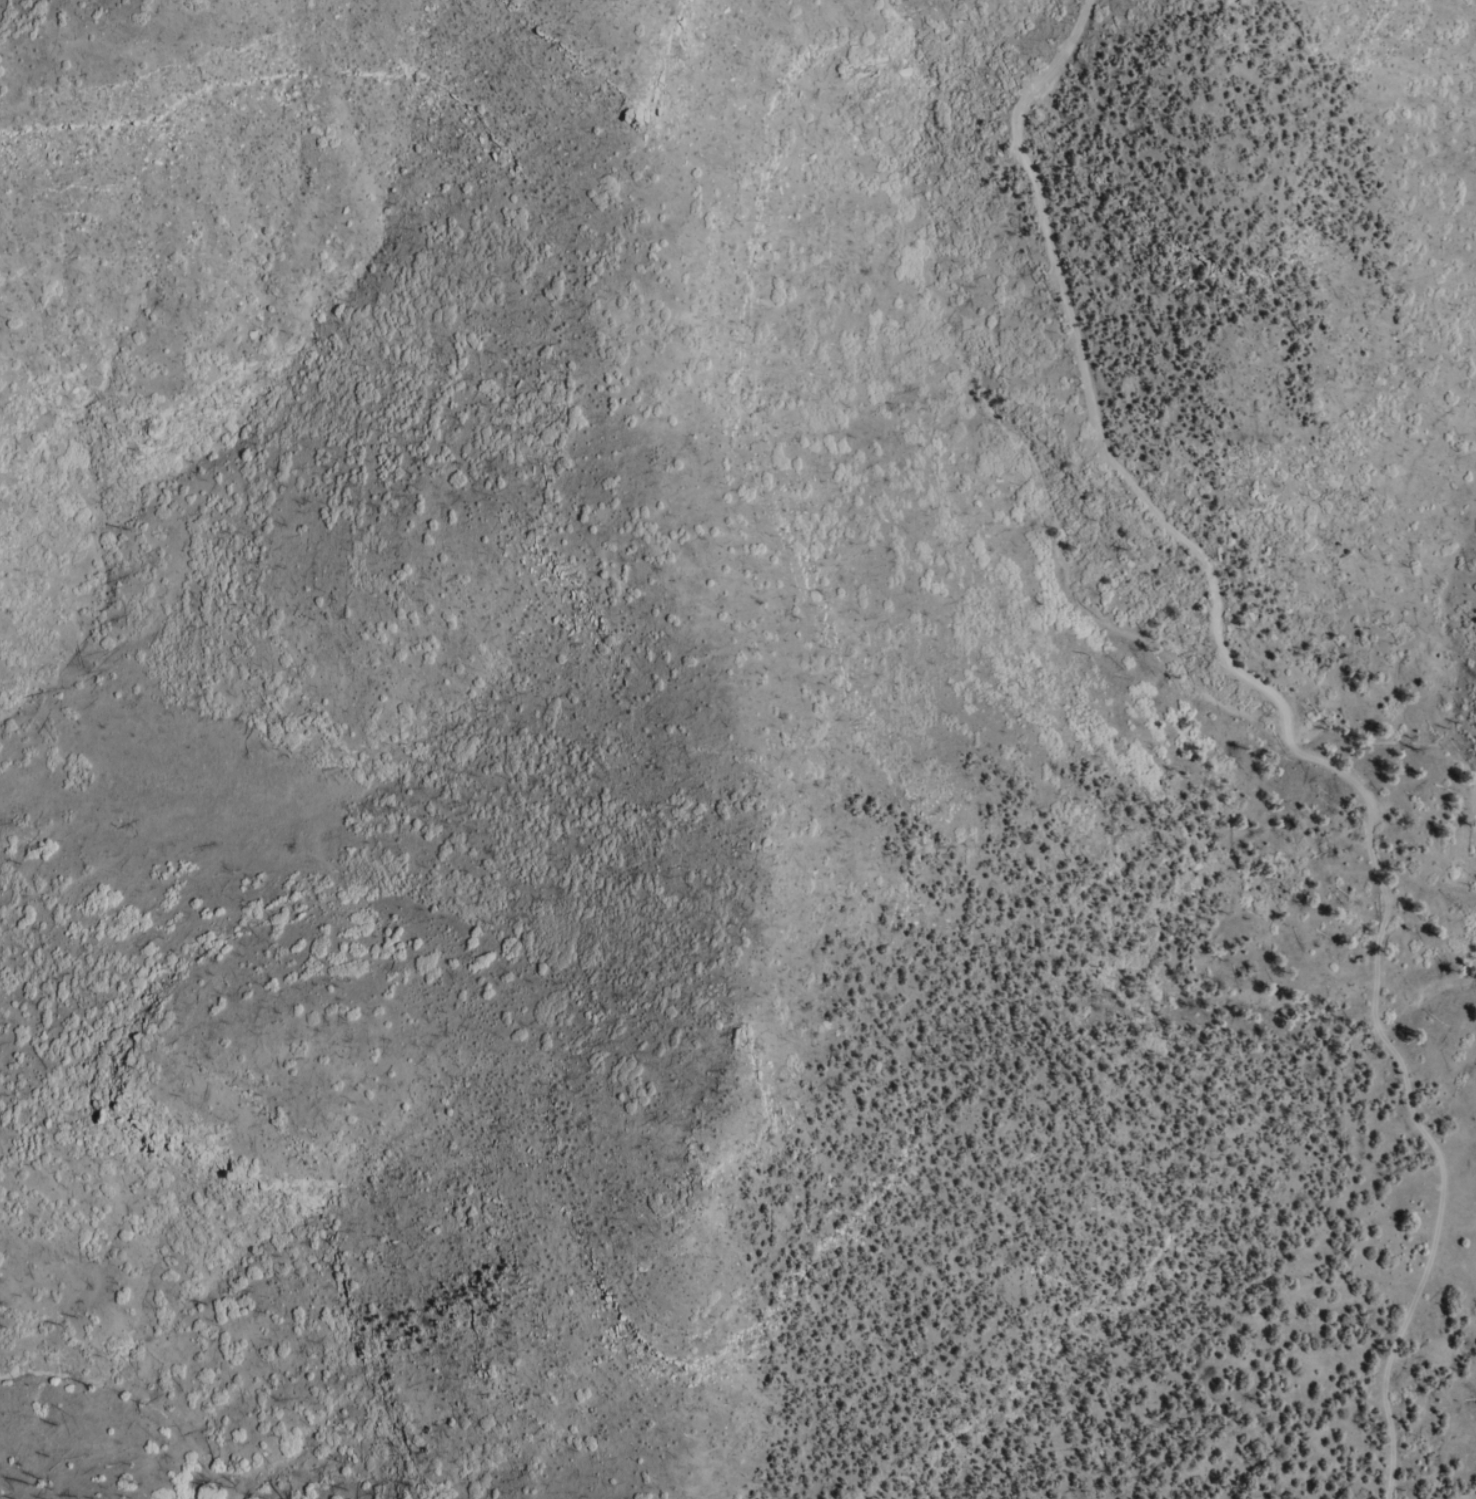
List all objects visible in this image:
road: (1289, 735)

